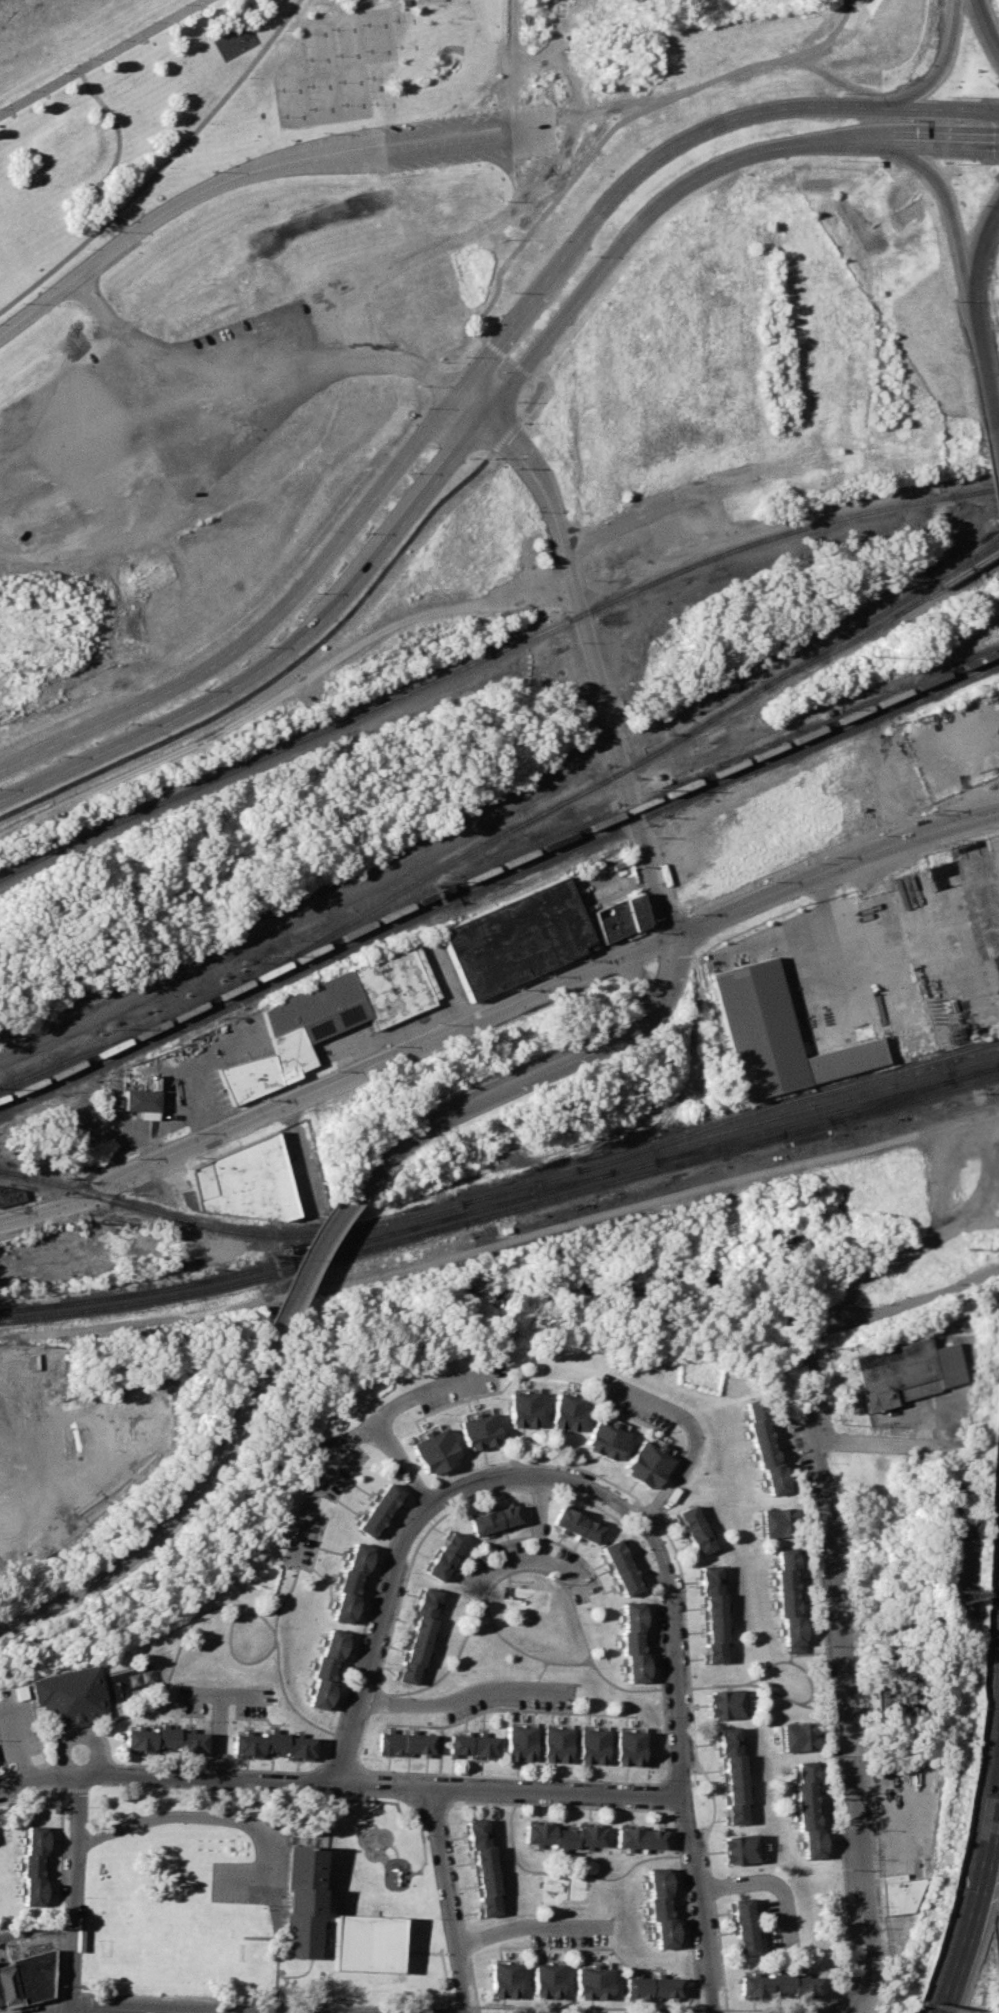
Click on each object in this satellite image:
street lamp: (183, 3)
street lamp: (388, 20)
street lamp: (151, 21)
road: (988, 23)
street lamp: (361, 24)
street lamp: (329, 28)
street lamp: (283, 30)
street lamp: (299, 32)
road: (212, 38)
street lamp: (118, 40)
street lamp: (392, 46)
street lamp: (364, 50)
street lamp: (333, 55)
road: (102, 56)
street lamp: (86, 57)
street lamp: (303, 58)
road: (939, 66)
park: (332, 68)
street lamp: (60, 72)
street lamp: (247, 78)
street lamp: (336, 82)
street lamp: (306, 85)
street lamp: (276, 89)
street lamp: (28, 90)
street lamp: (845, 92)
street lamp: (948, 96)
street lamp: (339, 104)
park: (207, 105)
street lamp: (308, 108)
street lamp: (99, 109)
street lamp: (278, 116)
street lamp: (209, 123)
street lamp: (320, 134)
road: (948, 143)
road: (673, 144)
road: (113, 156)
street lamp: (844, 160)
street lamp: (959, 163)
road: (160, 165)
street lamp: (169, 167)
road: (251, 170)
street lamp: (211, 171)
street lamp: (93, 181)
street lamp: (129, 208)
road: (650, 210)
road: (951, 221)
street lamp: (113, 231)
street lamp: (85, 248)
street lamp: (594, 255)
road: (978, 263)
street lamp: (39, 287)
street lamp: (20, 302)
street lamp: (544, 318)
street lamp: (467, 356)
street lamp: (439, 362)
road: (982, 372)
road: (244, 373)
street lamp: (421, 385)
street lamp: (518, 400)
road: (470, 405)
street lamp: (427, 407)
road: (516, 422)
street lamp: (525, 422)
road: (995, 452)
street lamp: (469, 457)
street lamp: (496, 457)
street lamp: (412, 473)
railway: (937, 498)
street lamp: (365, 532)
railway: (952, 585)
street lamp: (315, 593)
railway: (885, 620)
road: (261, 623)
street lamp: (261, 646)
road: (279, 653)
railway: (811, 656)
road: (594, 666)
railway: (960, 666)
railway: (961, 678)
railway: (432, 680)
street lamp: (198, 689)
road: (282, 693)
street lamp: (128, 723)
railway: (833, 728)
street lamp: (59, 755)
railway: (681, 785)
road: (835, 870)
railway: (433, 871)
railway: (457, 884)
railway: (458, 894)
railway: (441, 902)
road: (311, 909)
building: (620, 916)
building: (516, 937)
road: (645, 982)
building: (347, 1004)
railway: (175, 1022)
building: (775, 1035)
railway: (80, 1055)
road: (548, 1067)
building: (247, 1077)
road: (335, 1077)
railway: (787, 1100)
railway: (890, 1100)
building: (140, 1101)
railway: (720, 1147)
road: (299, 1152)
railway: (12, 1172)
railway: (12, 1173)
railway: (65, 1176)
building: (241, 1182)
railway: (539, 1187)
railway: (513, 1188)
building: (10, 1196)
railway: (502, 1202)
railway: (502, 1212)
building: (150, 1247)
road: (312, 1249)
railway: (264, 1254)
road: (892, 1261)
road: (903, 1302)
building: (902, 1372)
building: (520, 1408)
building: (564, 1412)
building: (477, 1431)
road: (357, 1436)
road: (688, 1437)
building: (604, 1440)
road: (882, 1441)
building: (764, 1445)
building: (432, 1451)
building: (646, 1464)
road: (400, 1467)
building: (378, 1510)
road: (538, 1517)
road: (171, 1518)
building: (493, 1519)
road: (418, 1522)
building: (774, 1522)
building: (577, 1525)
building: (693, 1529)
building: (444, 1556)
road: (532, 1558)
building: (622, 1568)
building: (351, 1583)
building: (789, 1596)
building: (713, 1614)
building: (419, 1636)
building: (635, 1641)
building: (328, 1669)
road: (843, 1675)
road: (219, 1695)
road: (460, 1696)
building: (68, 1698)
building: (889, 1699)
building: (723, 1703)
road: (79, 1736)
building: (797, 1736)
road: (217, 1737)
building: (163, 1740)
building: (518, 1742)
road: (16, 1743)
building: (272, 1744)
building: (407, 1744)
building: (554, 1744)
building: (472, 1746)
building: (591, 1746)
building: (628, 1748)
road: (683, 1775)
building: (732, 1775)
road: (341, 1785)
building: (809, 1809)
road: (666, 1811)
road: (226, 1817)
building: (563, 1835)
building: (640, 1838)
building: (736, 1849)
building: (33, 1866)
building: (483, 1866)
road: (571, 1872)
parking lot: (245, 1882)
road: (764, 1882)
road: (58, 1885)
road: (972, 1891)
road: (73, 1892)
building: (901, 1892)
park: (261, 1899)
road: (446, 1900)
building: (301, 1901)
building: (661, 1907)
road: (527, 1925)
building: (743, 1925)
park: (170, 1946)
building: (31, 1976)
building: (503, 1980)
building: (546, 1980)
building: (592, 1983)
building: (7, 1985)
building: (778, 1985)
building: (651, 1988)
road: (73, 1992)
road: (268, 2001)
road: (29, 2003)
road: (938, 2005)
road: (142, 2008)
road: (465, 2008)
road: (68, 2011)
road: (194, 2012)
road: (846, 2012)

